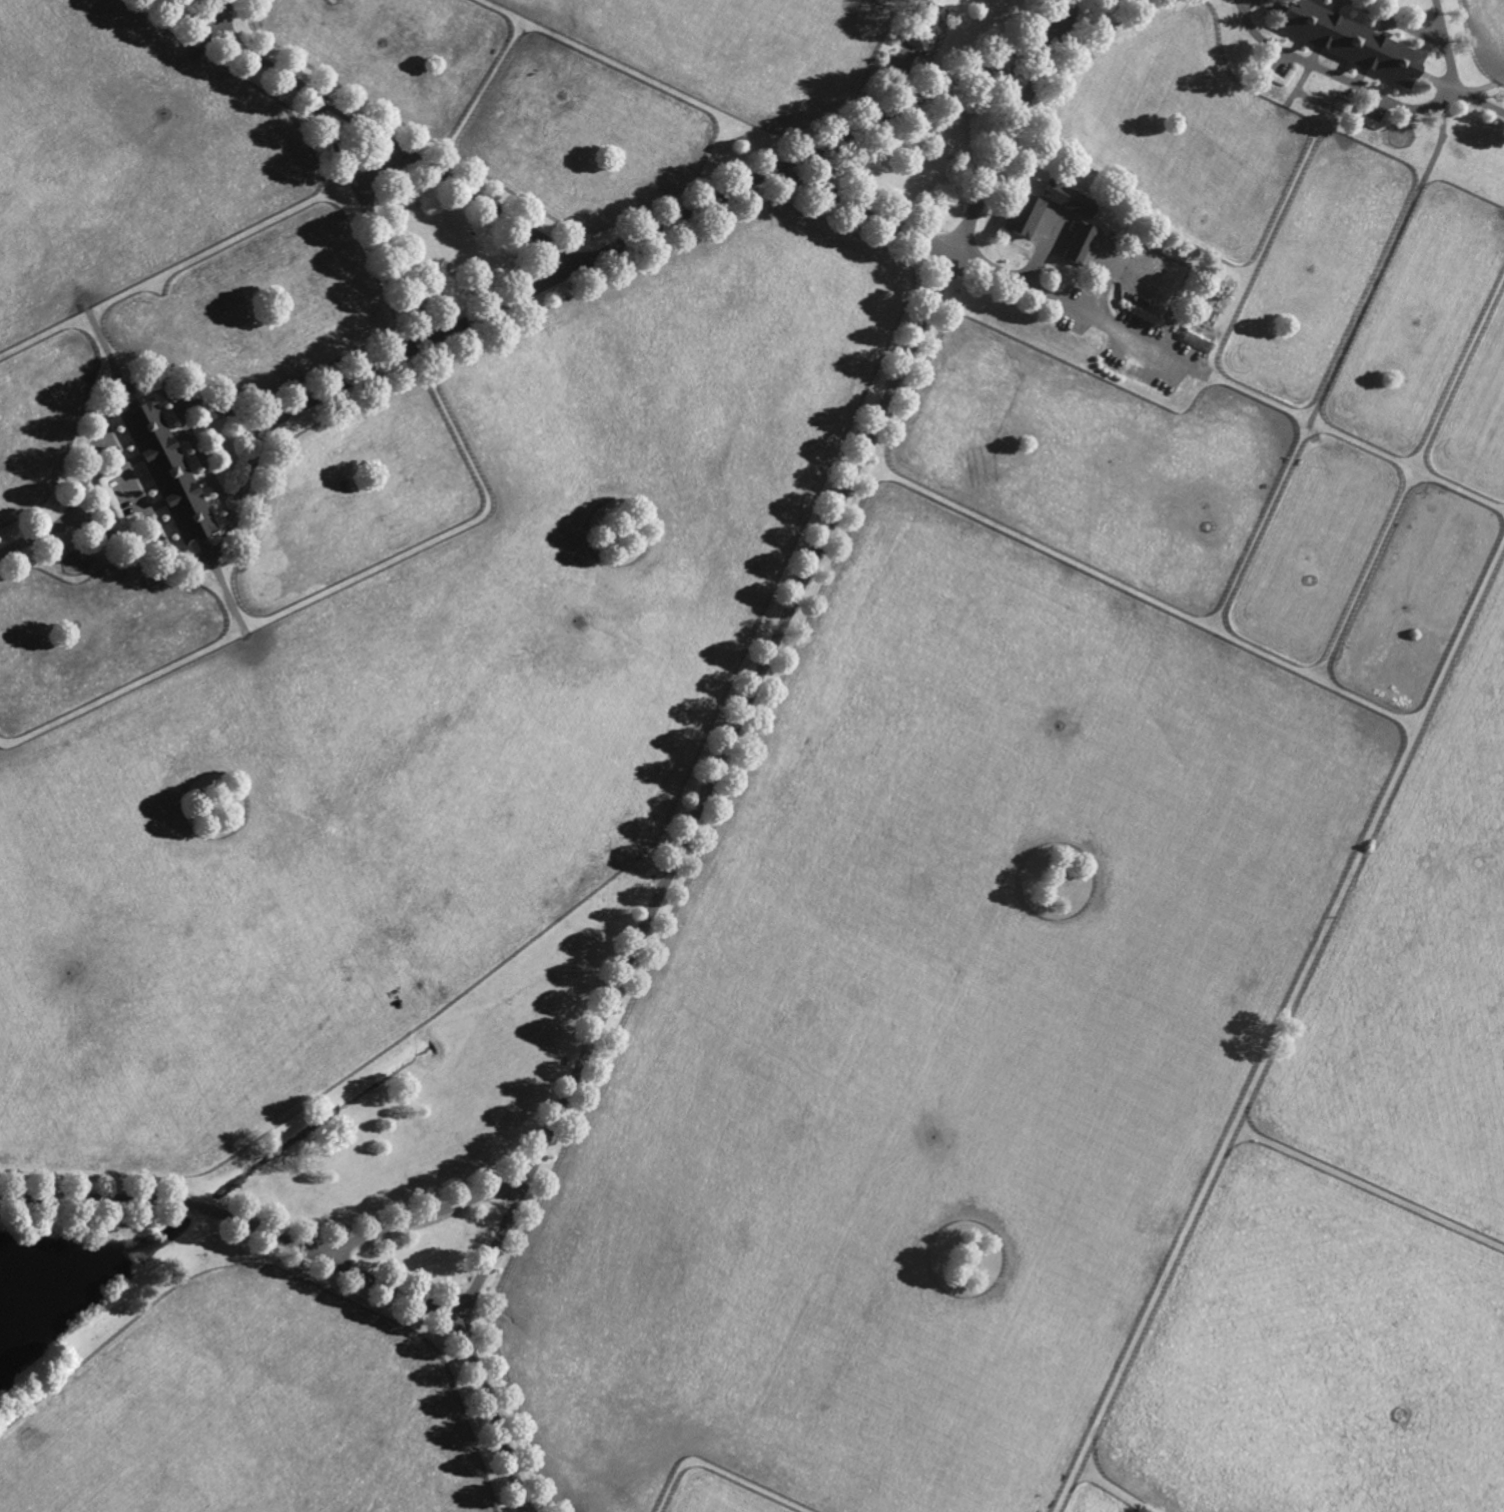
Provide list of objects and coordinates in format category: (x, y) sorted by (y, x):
road: (1053, 13)
road: (223, 16)
road: (1397, 21)
building: (924, 25)
building: (1348, 41)
road: (238, 48)
road: (1379, 96)
road: (1478, 104)
road: (847, 131)
road: (997, 154)
road: (448, 180)
building: (1067, 196)
road: (864, 209)
building: (1020, 213)
road: (375, 216)
building: (1080, 243)
road: (1070, 306)
building: (1154, 306)
building: (1199, 337)
road: (152, 388)
road: (201, 456)
building: (166, 471)
road: (131, 485)
road: (34, 536)
road: (707, 788)
road: (421, 1216)
road: (232, 1218)
road: (491, 1410)

